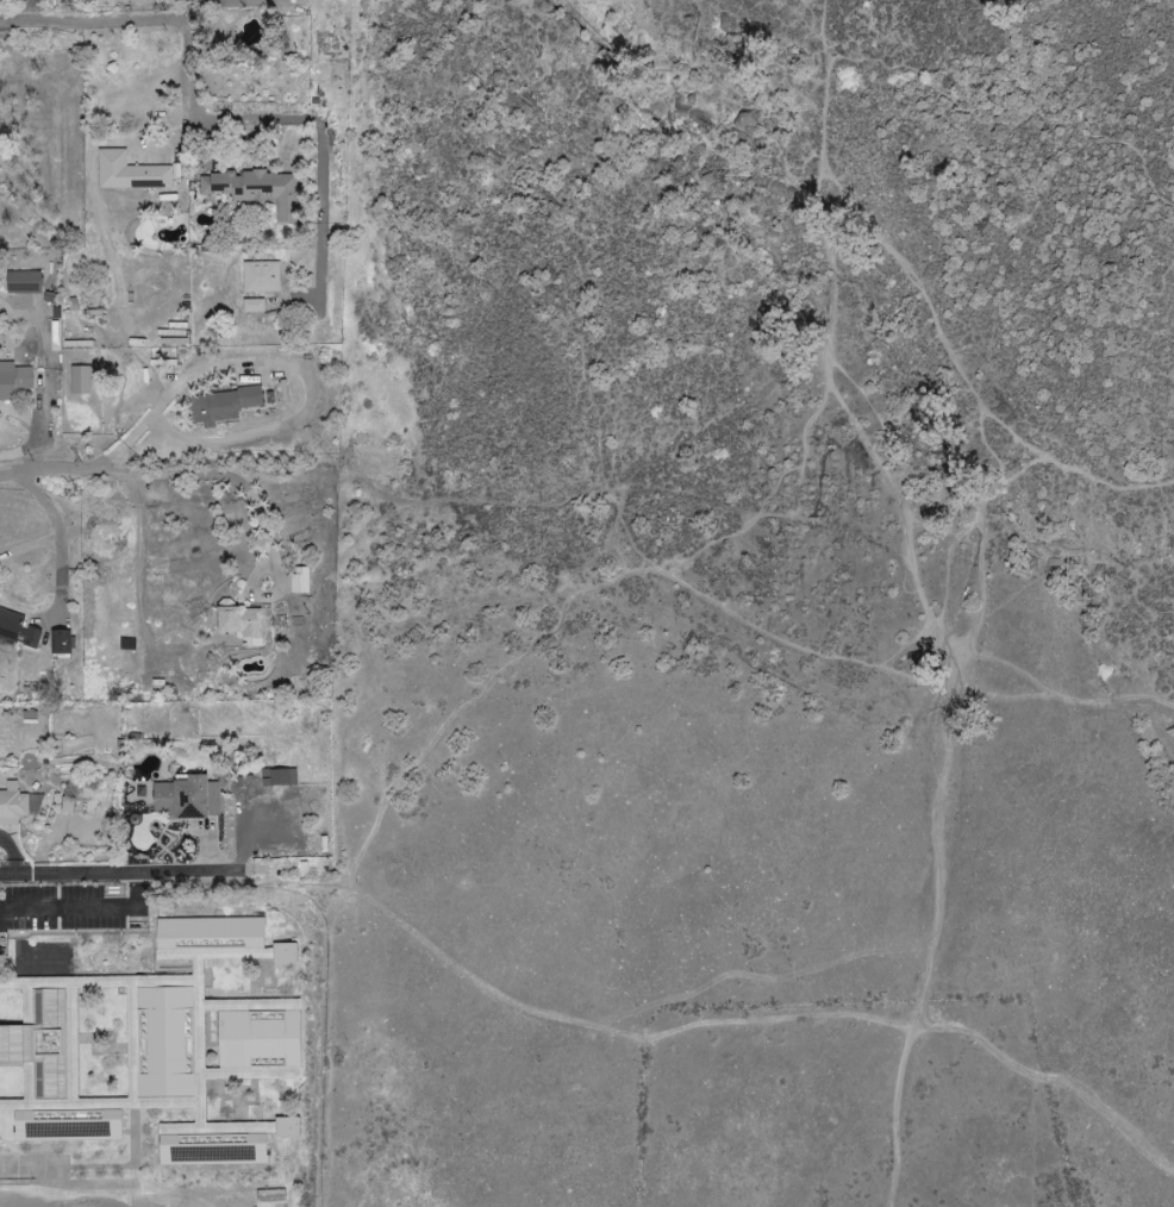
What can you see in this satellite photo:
building: (135, 0)
road: (214, 130)
building: (129, 173)
building: (254, 189)
building: (261, 277)
building: (23, 282)
building: (252, 305)
building: (13, 380)
building: (80, 380)
building: (223, 405)
road: (156, 409)
road: (33, 430)
road: (168, 476)
road: (51, 542)
building: (299, 581)
road: (918, 596)
building: (241, 624)
building: (17, 630)
building: (60, 643)
road: (1056, 709)
road: (470, 712)
building: (279, 777)
building: (186, 799)
building: (12, 807)
road: (108, 874)
road: (83, 907)
parking lot: (73, 909)
building: (283, 953)
building: (261, 1038)
building: (164, 1043)
building: (49, 1095)
building: (286, 1127)

